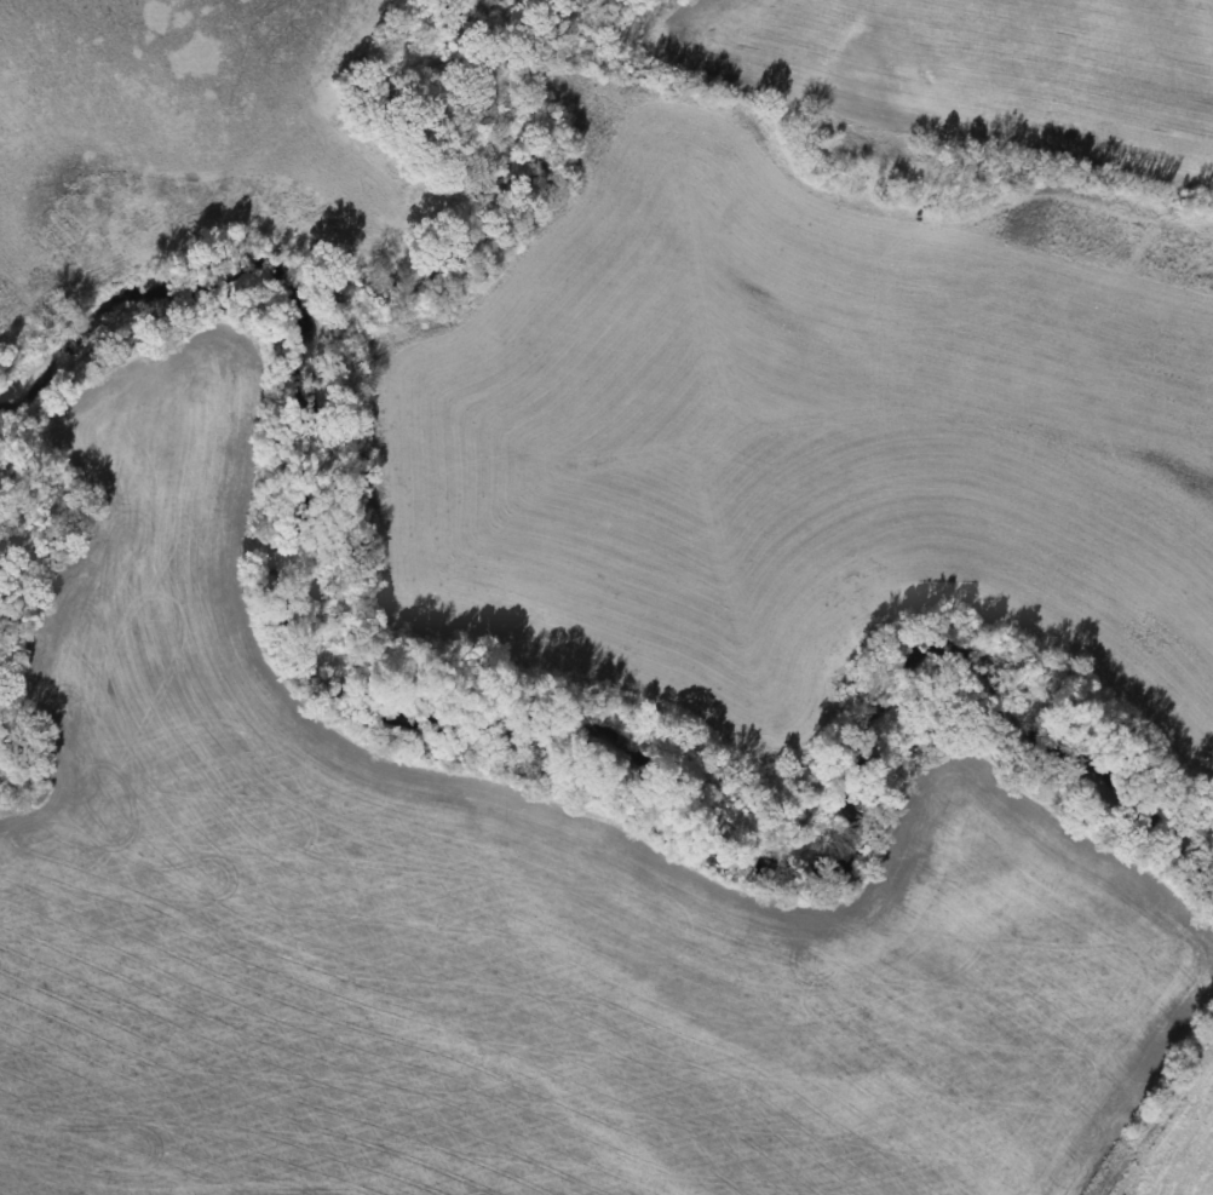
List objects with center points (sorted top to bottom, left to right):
river: (527, 730)

